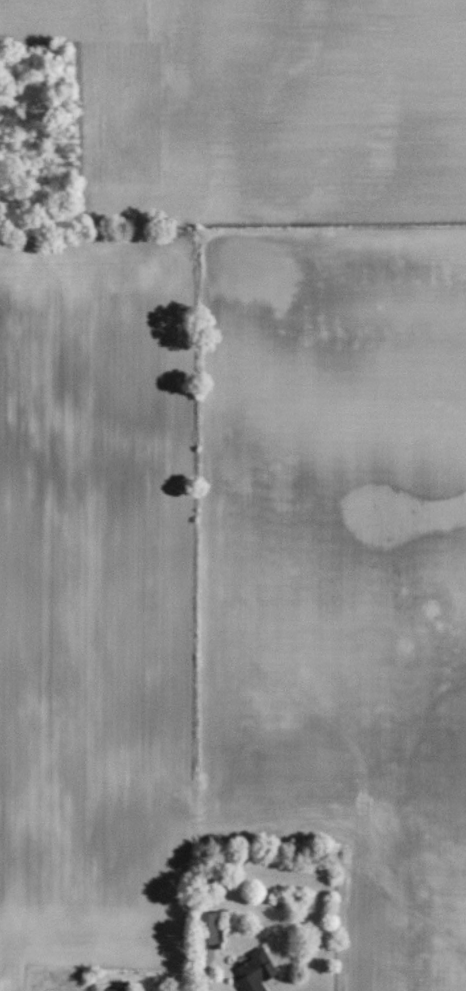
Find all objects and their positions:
building: (211, 927)
building: (255, 971)
building: (114, 989)

